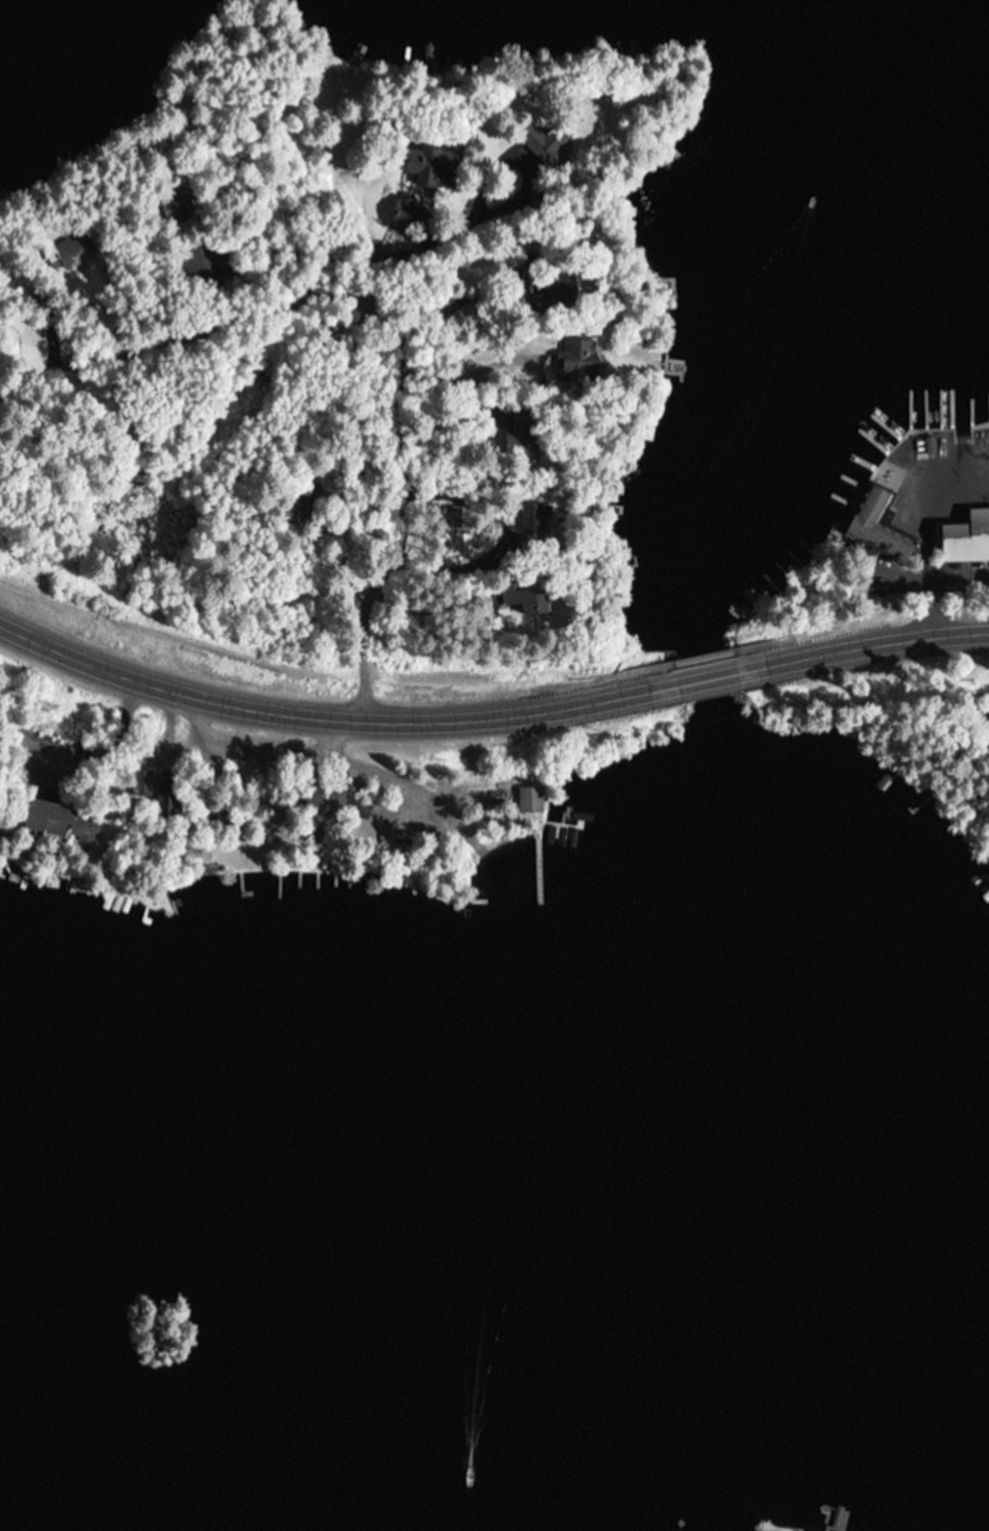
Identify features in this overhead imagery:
building: (439, 52)
building: (548, 143)
building: (433, 167)
building: (177, 206)
building: (406, 216)
building: (69, 251)
building: (562, 289)
road: (388, 324)
river: (752, 342)
building: (579, 350)
building: (523, 434)
building: (295, 511)
building: (535, 519)
building: (878, 527)
building: (966, 538)
building: (526, 597)
road: (876, 644)
road: (708, 680)
road: (317, 721)
building: (142, 783)
building: (530, 798)
building: (166, 800)
building: (59, 821)
river: (586, 1135)

